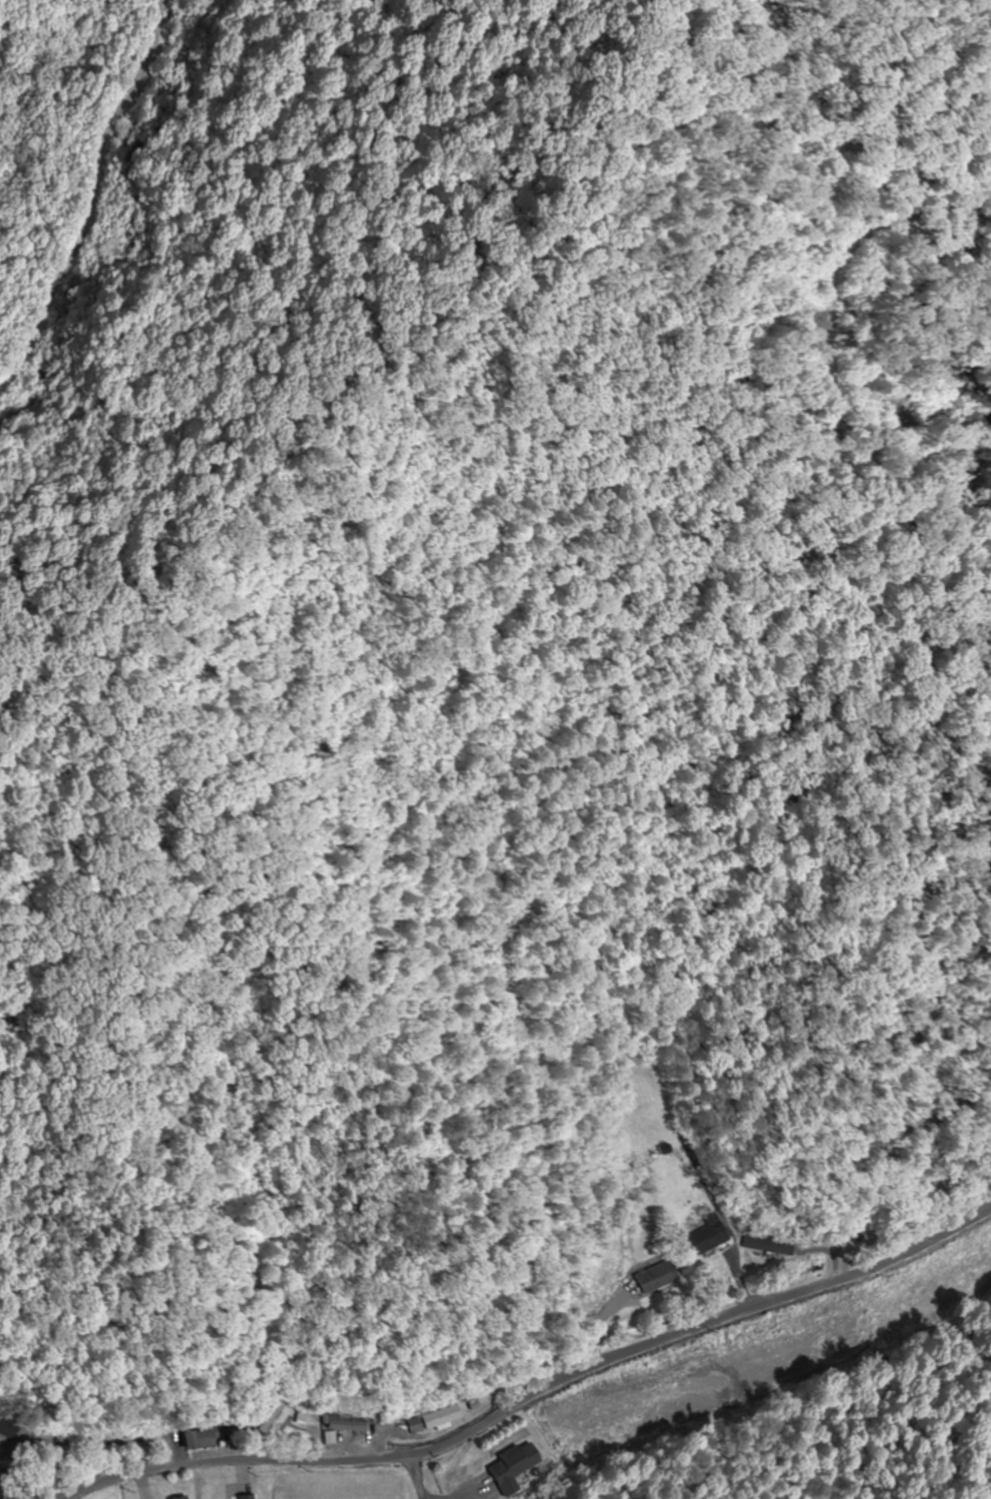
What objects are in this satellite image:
building: (705, 1234)
building: (654, 1277)
road: (532, 1379)
building: (277, 1419)
building: (5, 1427)
building: (343, 1427)
building: (207, 1438)
building: (513, 1467)
building: (246, 1497)
building: (184, 1498)

